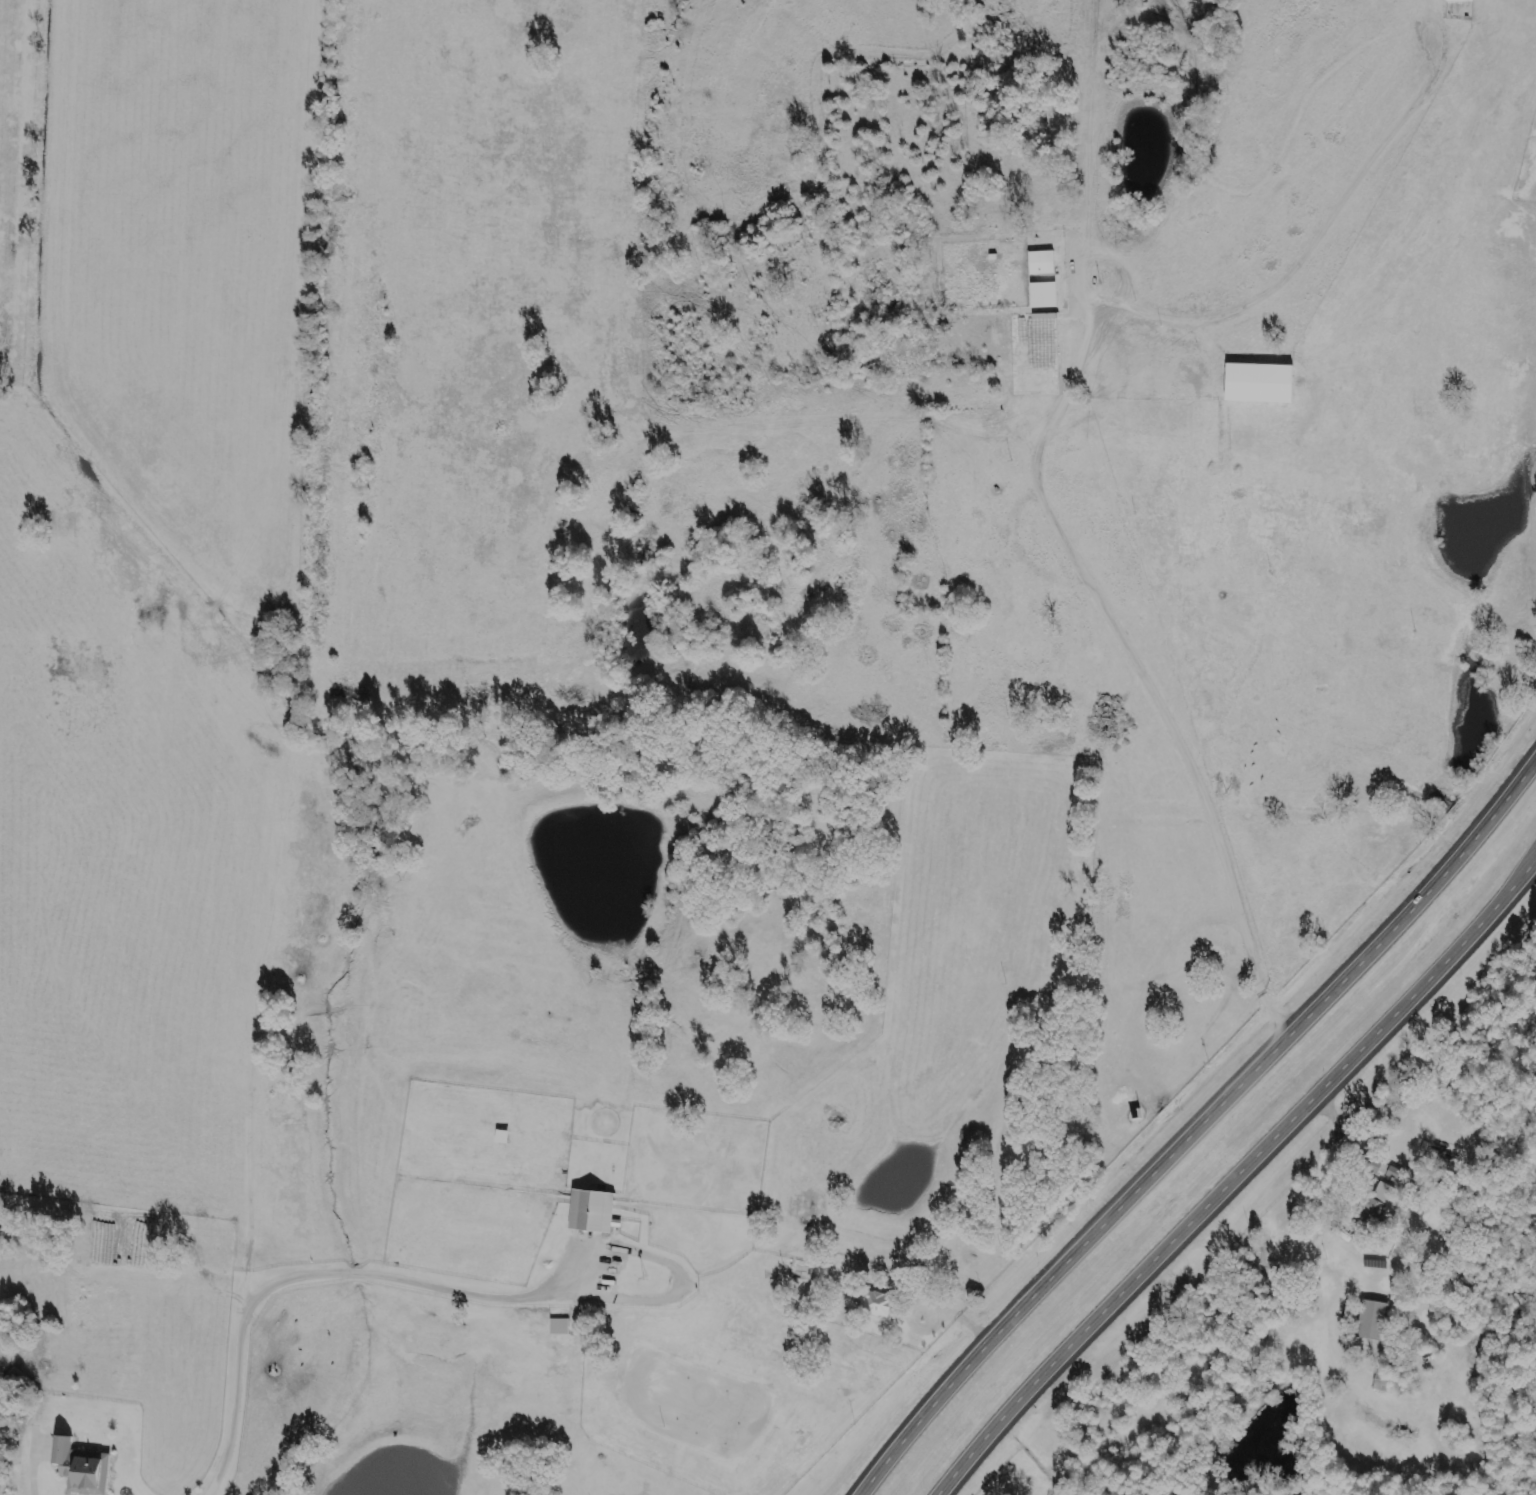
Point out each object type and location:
building: (1457, 2)
building: (1039, 265)
building: (1048, 295)
building: (1257, 385)
road: (1074, 536)
road: (1195, 1125)
building: (1388, 1170)
road: (1233, 1173)
building: (809, 1205)
building: (1372, 1209)
building: (589, 1214)
road: (324, 1277)
building: (872, 1305)
road: (962, 1319)
building: (1370, 1323)
building: (562, 1326)
building: (78, 1470)

